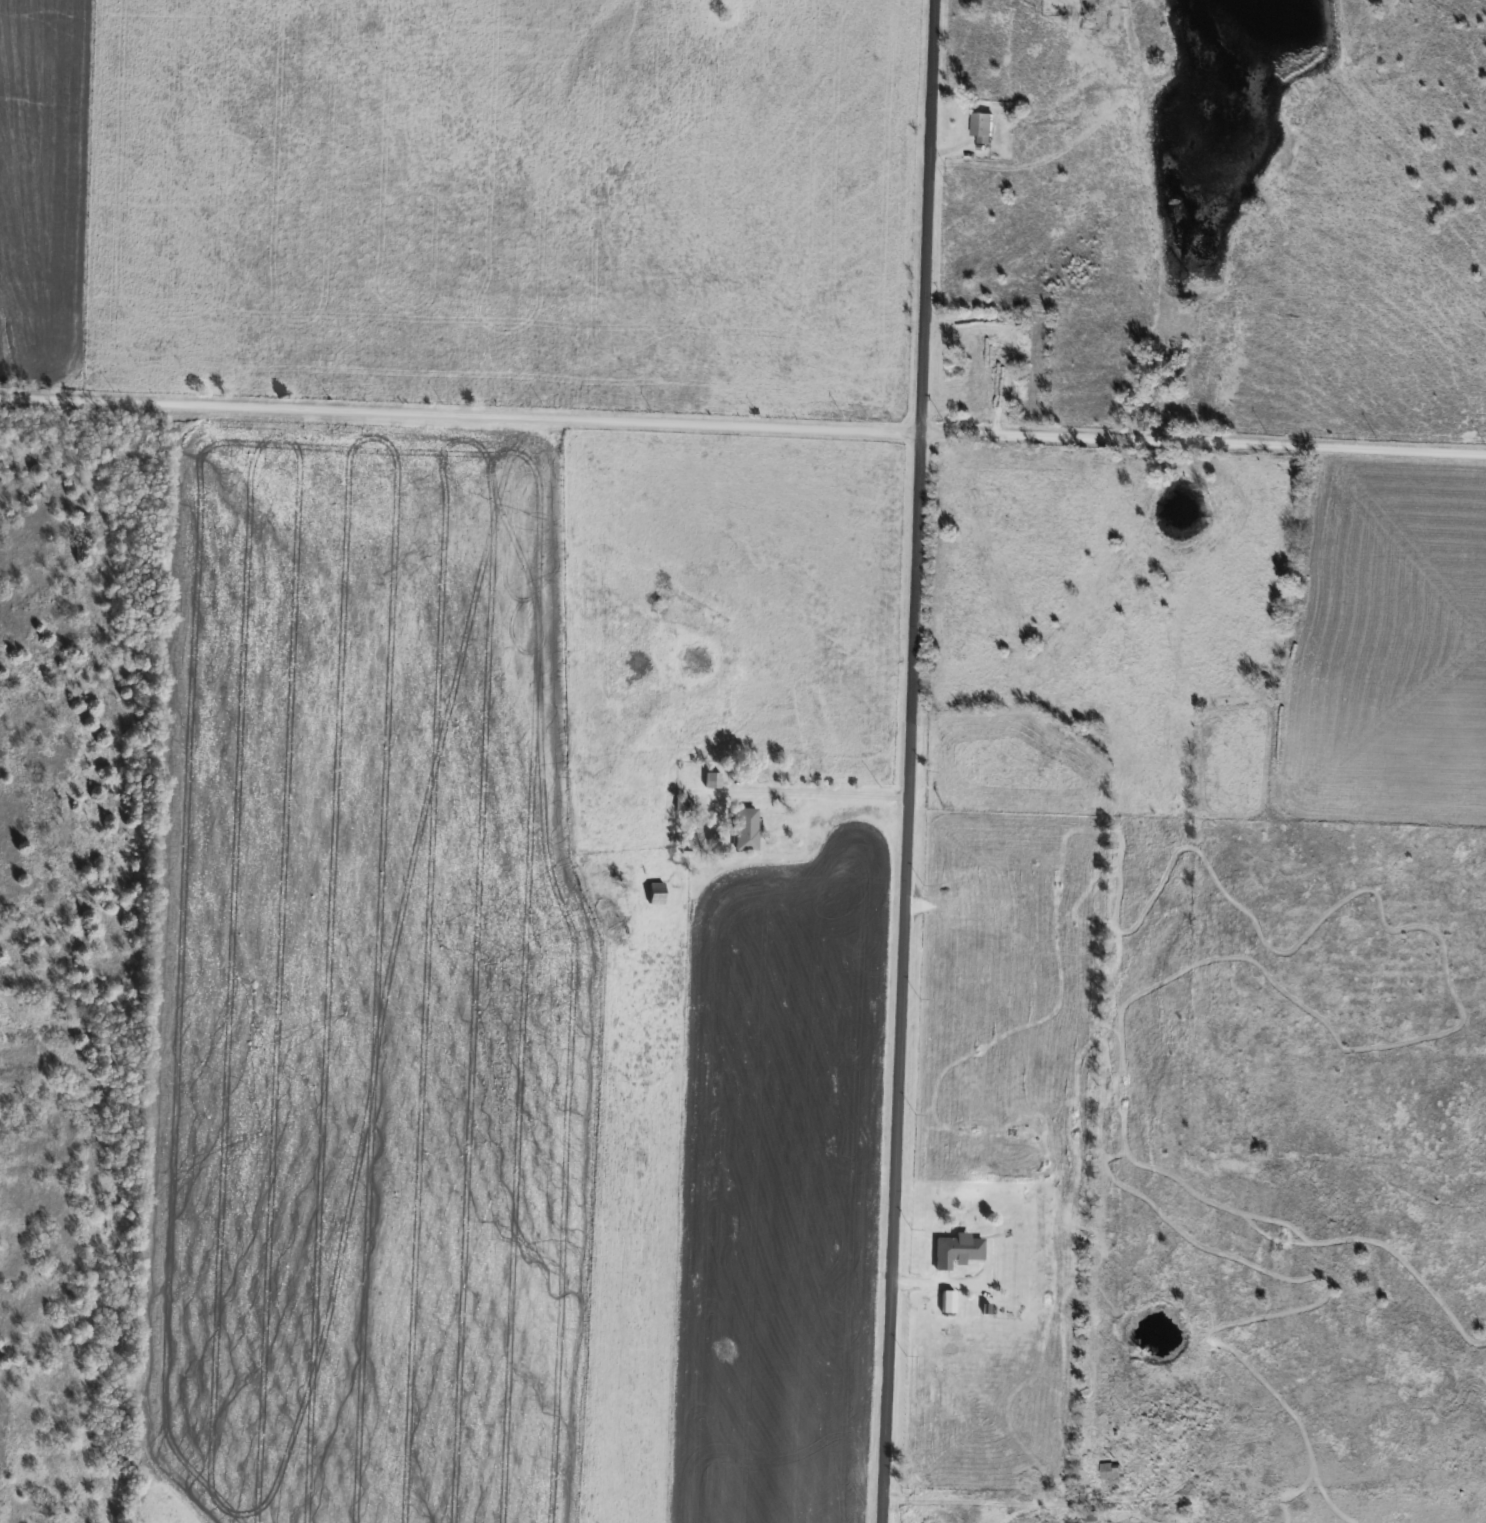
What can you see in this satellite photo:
building: (1088, 3)
building: (982, 127)
road: (743, 425)
road: (906, 761)
building: (712, 779)
road: (823, 789)
building: (684, 804)
building: (745, 828)
building: (656, 892)
building: (959, 1247)
road: (947, 1282)
building: (1109, 1471)
building: (1045, 1518)

